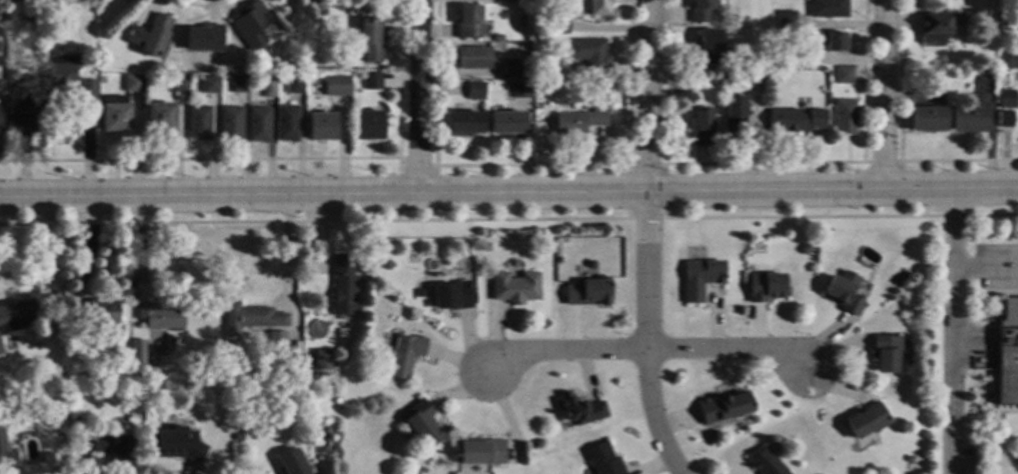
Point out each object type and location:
building: (599, 7)
building: (828, 9)
building: (700, 11)
building: (30, 19)
building: (786, 20)
building: (740, 22)
building: (1008, 22)
building: (469, 23)
building: (252, 26)
building: (560, 26)
building: (938, 27)
building: (150, 35)
building: (204, 39)
building: (370, 39)
building: (497, 39)
building: (830, 41)
building: (707, 48)
building: (808, 55)
building: (590, 56)
building: (473, 58)
building: (1013, 61)
building: (511, 70)
building: (62, 71)
building: (991, 71)
building: (526, 74)
building: (12, 75)
building: (723, 75)
building: (844, 76)
building: (271, 77)
building: (752, 79)
building: (371, 81)
building: (133, 83)
building: (179, 83)
building: (239, 84)
building: (210, 85)
building: (294, 85)
building: (508, 85)
building: (336, 86)
building: (87, 87)
building: (320, 87)
building: (269, 89)
building: (520, 90)
building: (475, 91)
road: (882, 93)
road: (417, 96)
building: (1006, 99)
building: (537, 106)
building: (734, 114)
building: (25, 115)
building: (115, 117)
building: (160, 117)
building: (844, 117)
building: (927, 120)
building: (1005, 120)
building: (795, 121)
building: (969, 121)
building: (579, 122)
building: (200, 123)
building: (465, 123)
building: (507, 123)
building: (231, 124)
building: (287, 124)
building: (259, 125)
building: (368, 125)
building: (321, 127)
building: (702, 127)
road: (899, 140)
road: (85, 155)
road: (761, 163)
road: (663, 164)
road: (530, 165)
road: (899, 171)
road: (508, 191)
road: (840, 217)
road: (312, 221)
road: (646, 240)
building: (487, 247)
road: (285, 248)
building: (558, 261)
building: (514, 264)
building: (591, 265)
road: (985, 266)
building: (903, 274)
building: (701, 279)
building: (343, 287)
building: (515, 288)
building: (766, 288)
building: (589, 293)
building: (844, 293)
building: (420, 294)
road: (999, 294)
building: (452, 296)
building: (94, 314)
building: (16, 315)
building: (161, 316)
building: (251, 319)
road: (952, 330)
building: (276, 343)
road: (649, 347)
building: (133, 348)
building: (1, 349)
building: (886, 353)
building: (405, 355)
building: (1008, 355)
building: (322, 362)
road: (990, 385)
road: (977, 386)
building: (57, 387)
building: (723, 408)
building: (579, 409)
building: (867, 421)
building: (75, 423)
building: (422, 424)
building: (238, 437)
road: (994, 441)
building: (64, 443)
building: (537, 443)
building: (178, 445)
building: (115, 450)
building: (480, 452)
building: (7, 454)
building: (908, 459)
building: (603, 460)
building: (291, 463)
building: (765, 463)

